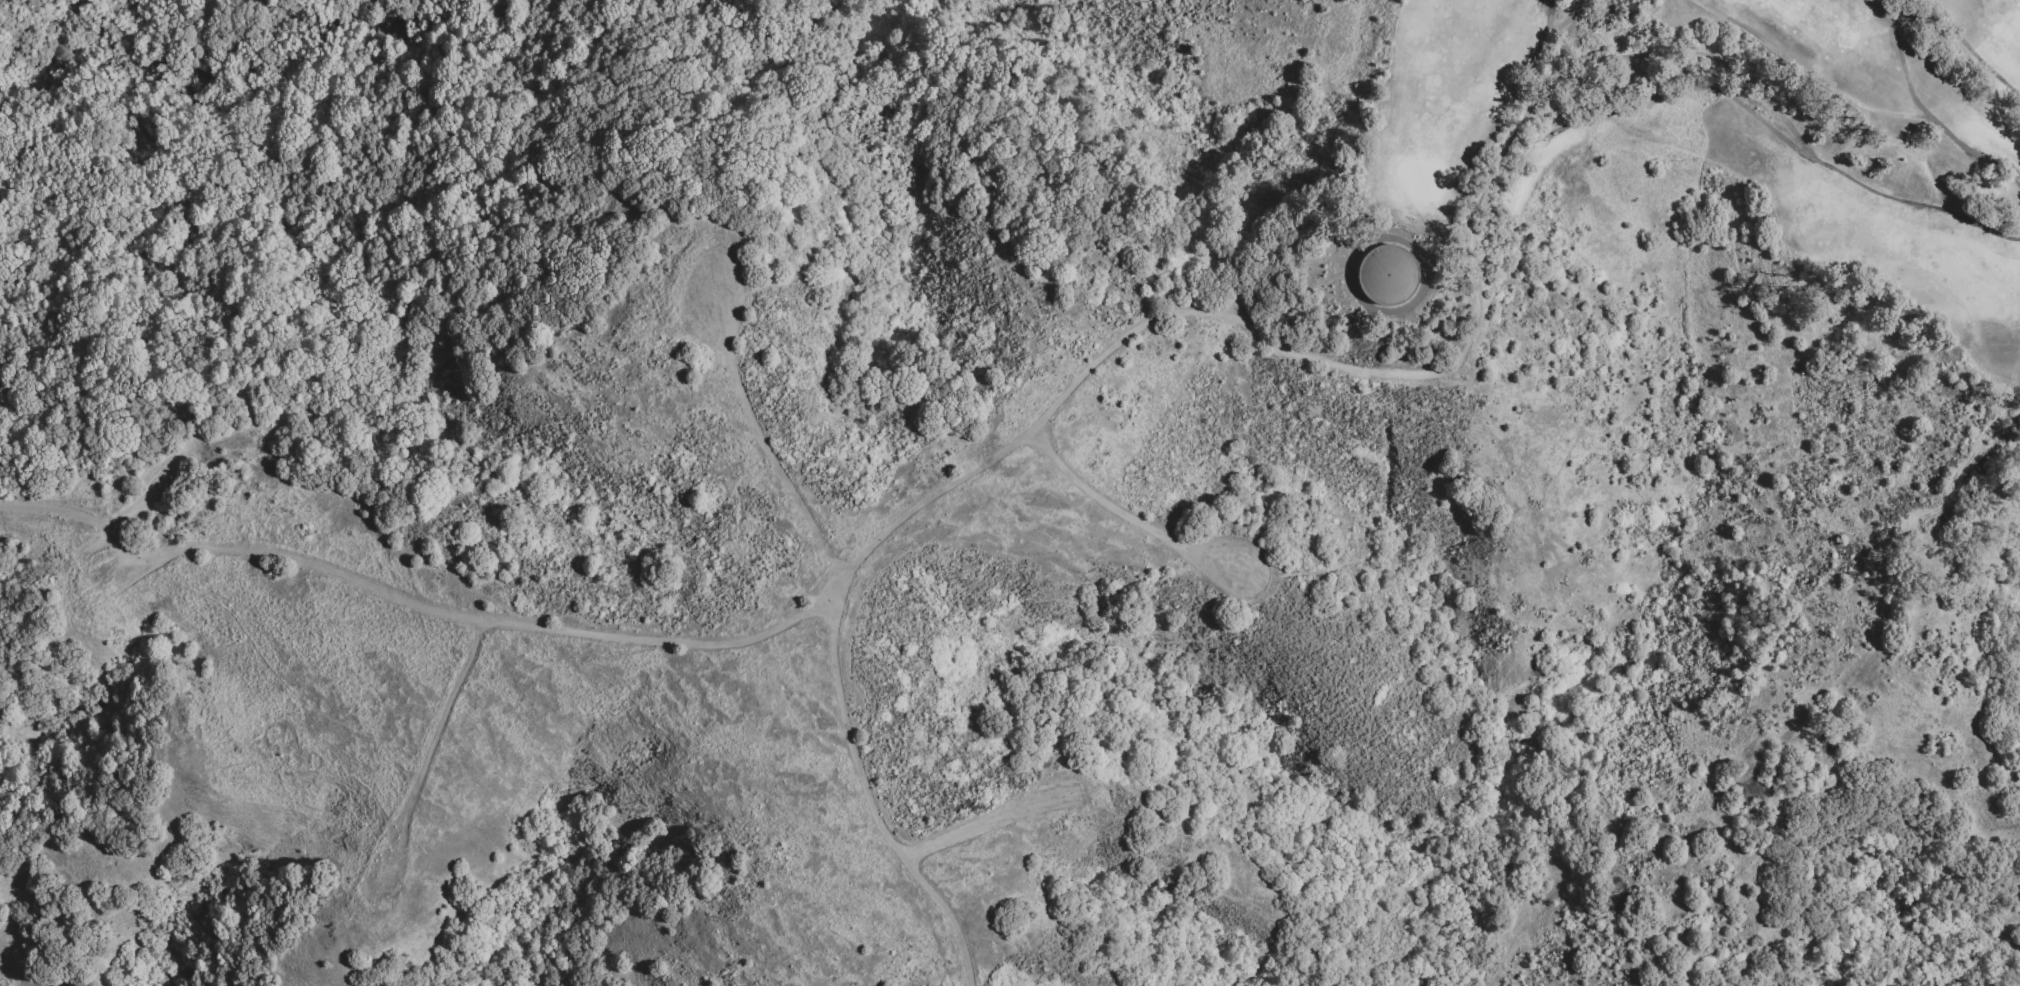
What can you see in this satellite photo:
road: (1969, 53)
road: (1702, 54)
road: (1638, 100)
road: (1924, 111)
road: (433, 148)
road: (1494, 173)
park: (1421, 180)
park: (1745, 186)
building: (1387, 276)
storage tank: (1387, 276)
road: (1122, 517)
road: (776, 630)
road: (835, 668)
park: (1928, 878)

